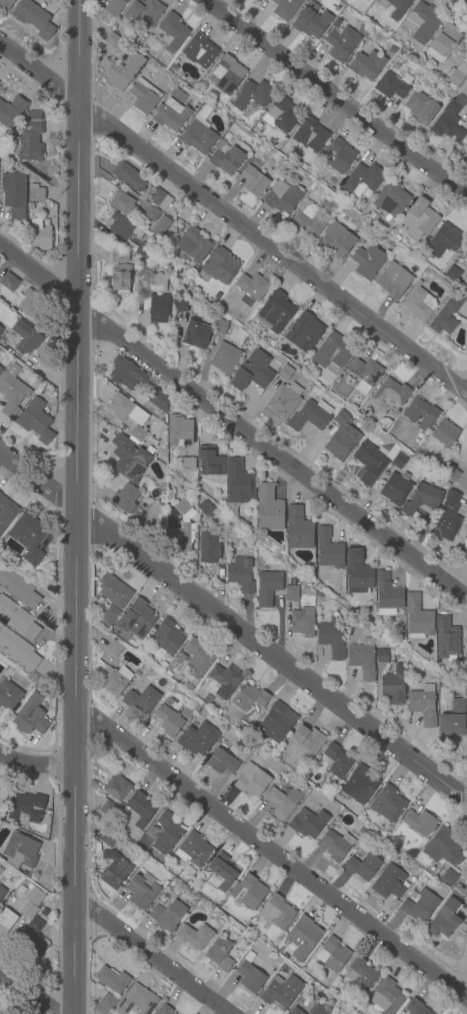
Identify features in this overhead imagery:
building: (6, 4)
building: (115, 6)
building: (395, 7)
building: (286, 8)
building: (144, 11)
building: (33, 19)
building: (311, 21)
building: (423, 21)
building: (173, 31)
building: (112, 39)
building: (377, 41)
building: (342, 43)
building: (443, 43)
building: (199, 50)
building: (420, 60)
building: (367, 65)
building: (123, 70)
building: (228, 73)
building: (457, 74)
building: (391, 86)
building: (177, 94)
building: (144, 95)
building: (253, 96)
road: (336, 98)
building: (421, 107)
building: (11, 110)
building: (171, 115)
building: (281, 116)
building: (449, 120)
building: (199, 132)
building: (310, 135)
building: (227, 136)
building: (29, 138)
building: (340, 156)
building: (226, 159)
building: (129, 178)
building: (361, 180)
building: (255, 181)
building: (36, 189)
building: (14, 195)
building: (392, 197)
building: (283, 198)
building: (160, 199)
building: (123, 204)
building: (30, 206)
building: (152, 215)
building: (418, 219)
building: (309, 220)
building: (46, 222)
road: (233, 222)
building: (124, 227)
building: (161, 227)
building: (39, 235)
building: (446, 235)
building: (397, 238)
building: (337, 241)
building: (193, 244)
building: (144, 251)
building: (119, 256)
building: (368, 261)
building: (142, 265)
building: (219, 265)
building: (452, 274)
building: (121, 280)
building: (393, 280)
building: (9, 282)
building: (158, 283)
building: (252, 286)
building: (419, 303)
building: (145, 304)
building: (32, 305)
building: (181, 306)
building: (158, 308)
building: (275, 312)
building: (446, 314)
building: (0, 327)
building: (221, 327)
building: (0, 329)
building: (304, 333)
building: (196, 336)
building: (26, 338)
building: (332, 352)
building: (225, 359)
building: (300, 366)
building: (283, 368)
building: (0, 370)
building: (253, 372)
building: (125, 373)
building: (365, 373)
building: (150, 382)
building: (12, 391)
building: (391, 392)
building: (284, 400)
building: (158, 401)
building: (126, 410)
building: (422, 414)
building: (310, 416)
building: (36, 421)
road: (233, 422)
building: (382, 423)
building: (179, 431)
building: (445, 433)
building: (136, 434)
building: (342, 437)
building: (422, 457)
building: (129, 459)
building: (210, 461)
building: (398, 461)
building: (370, 463)
building: (189, 464)
building: (451, 473)
building: (238, 485)
building: (395, 488)
building: (0, 493)
building: (169, 496)
building: (124, 498)
building: (421, 498)
road: (74, 506)
building: (205, 507)
building: (268, 508)
building: (6, 513)
building: (447, 517)
building: (181, 529)
building: (299, 529)
building: (28, 537)
building: (208, 547)
building: (329, 550)
building: (357, 573)
building: (241, 575)
building: (268, 587)
building: (18, 588)
building: (114, 591)
building: (291, 594)
building: (387, 595)
building: (109, 617)
building: (417, 617)
building: (137, 618)
building: (18, 619)
building: (370, 621)
building: (302, 623)
road: (233, 629)
building: (167, 637)
building: (331, 637)
building: (446, 639)
building: (113, 649)
building: (18, 650)
building: (383, 656)
building: (197, 658)
building: (179, 659)
building: (362, 659)
building: (163, 665)
building: (168, 674)
building: (115, 680)
building: (225, 680)
building: (393, 685)
building: (8, 695)
building: (249, 698)
building: (141, 699)
building: (423, 705)
building: (457, 706)
building: (218, 712)
building: (31, 716)
building: (170, 720)
building: (277, 722)
building: (450, 726)
building: (243, 728)
building: (197, 738)
building: (308, 739)
building: (337, 760)
building: (221, 762)
road: (36, 765)
building: (274, 766)
building: (251, 781)
building: (360, 784)
building: (117, 789)
building: (282, 803)
building: (387, 804)
building: (26, 808)
building: (108, 809)
building: (137, 811)
building: (326, 813)
building: (419, 823)
building: (305, 824)
building: (358, 829)
building: (164, 833)
building: (108, 838)
building: (336, 845)
building: (444, 847)
building: (195, 850)
building: (20, 851)
building: (110, 855)
road: (270, 856)
building: (363, 866)
building: (221, 872)
building: (115, 874)
building: (448, 877)
building: (1, 881)
building: (389, 883)
building: (142, 890)
building: (248, 891)
building: (2, 892)
building: (35, 897)
building: (160, 900)
building: (419, 905)
building: (28, 910)
building: (277, 913)
building: (167, 916)
building: (6, 920)
building: (445, 920)
building: (37, 922)
building: (194, 936)
building: (302, 937)
building: (220, 954)
building: (333, 955)
building: (249, 957)
road: (149, 958)
building: (359, 975)
building: (250, 977)
building: (112, 979)
road: (30, 991)
building: (281, 992)
building: (386, 997)
building: (136, 1001)
building: (105, 1004)
building: (415, 1007)
building: (318, 1009)
building: (164, 1010)
building: (295, 1011)

